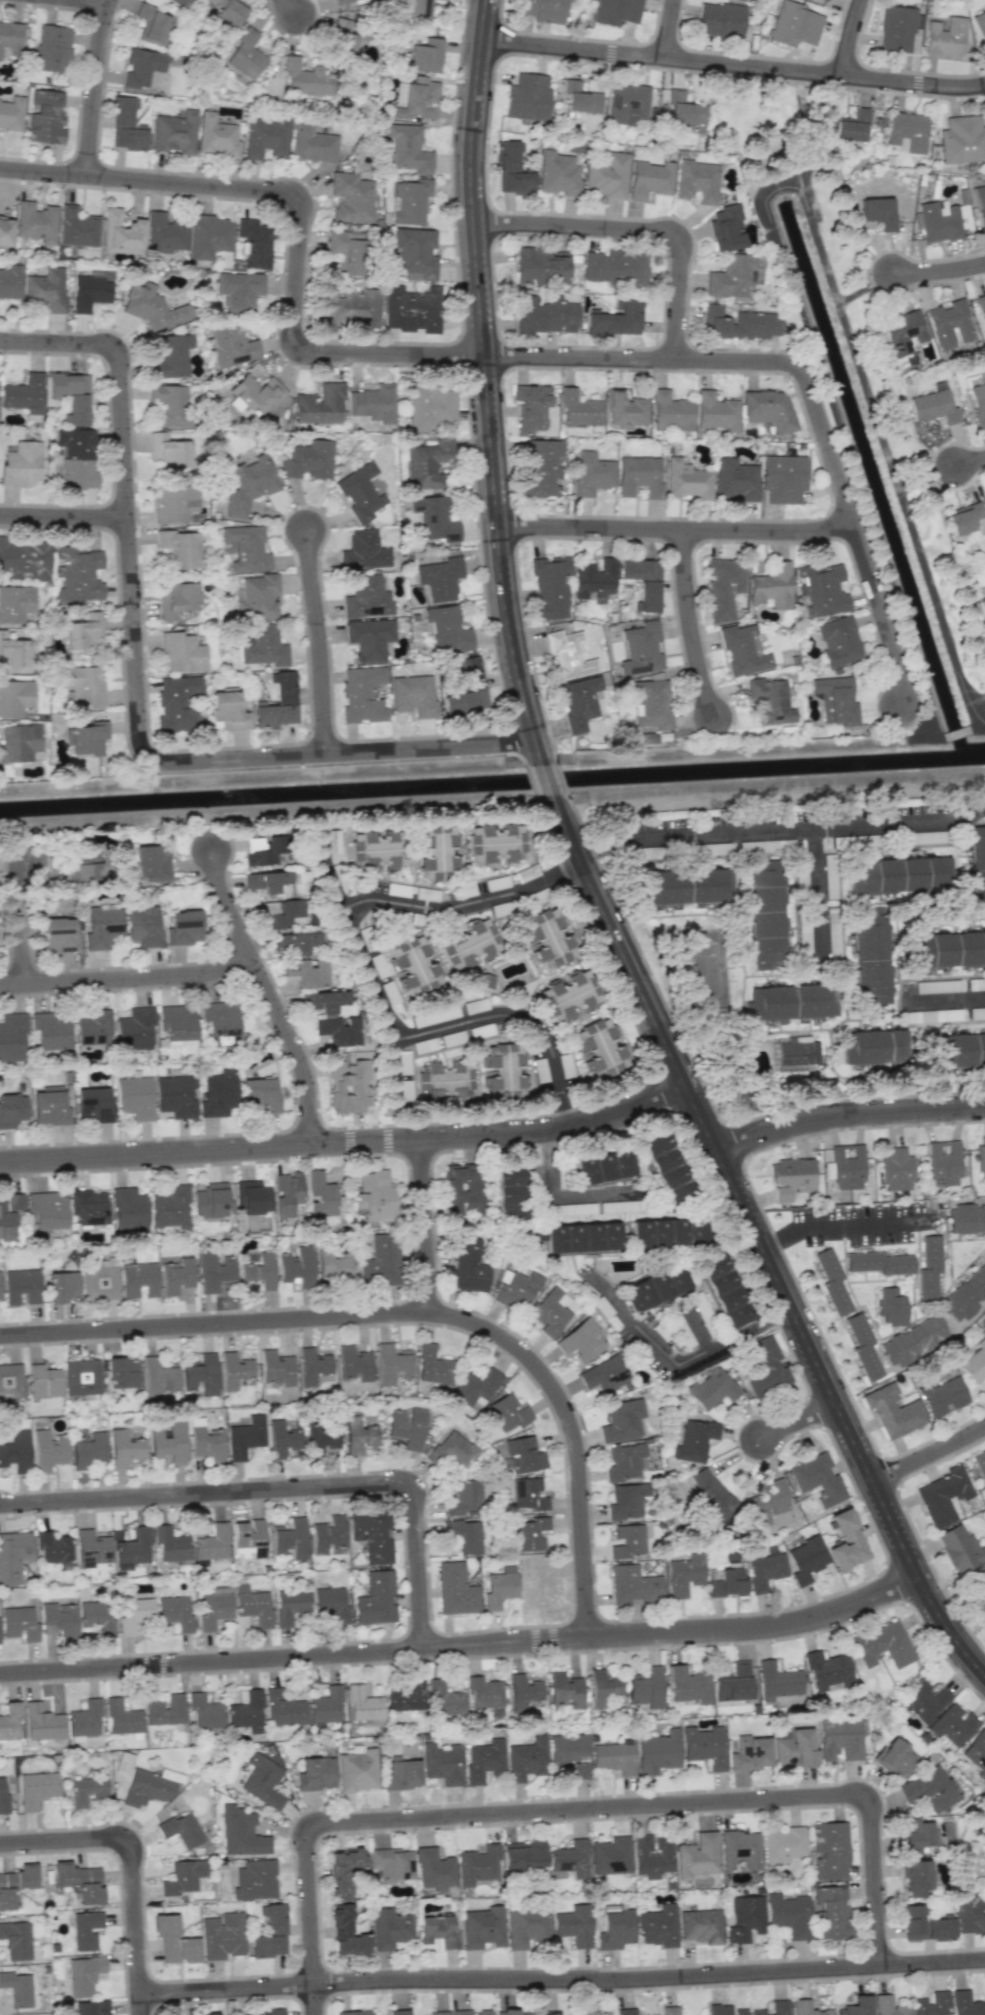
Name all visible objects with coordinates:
road: (109, 0)
building: (824, 0)
building: (340, 1)
building: (180, 2)
road: (294, 6)
building: (417, 8)
building: (542, 10)
building: (228, 11)
building: (617, 11)
building: (721, 19)
building: (150, 23)
building: (795, 24)
building: (980, 24)
building: (896, 27)
road: (669, 29)
building: (945, 36)
building: (343, 37)
road: (849, 37)
building: (10, 39)
building: (52, 48)
building: (245, 55)
building: (426, 56)
road: (734, 65)
building: (141, 67)
building: (305, 78)
road: (97, 86)
building: (527, 97)
building: (580, 98)
building: (417, 99)
building: (628, 103)
building: (680, 110)
building: (11, 113)
building: (46, 117)
building: (851, 125)
building: (126, 126)
building: (907, 131)
building: (174, 132)
building: (216, 136)
building: (265, 138)
building: (962, 139)
building: (312, 144)
building: (407, 148)
building: (511, 169)
building: (558, 173)
building: (607, 176)
building: (649, 179)
building: (696, 181)
building: (351, 198)
building: (410, 201)
building: (979, 205)
building: (878, 212)
road: (297, 219)
building: (942, 220)
building: (35, 222)
building: (76, 227)
building: (726, 228)
road: (643, 230)
building: (5, 231)
building: (121, 233)
building: (164, 233)
building: (209, 236)
building: (254, 243)
building: (347, 250)
building: (415, 253)
building: (541, 266)
building: (615, 266)
road: (938, 272)
building: (732, 277)
building: (10, 282)
building: (46, 289)
building: (239, 289)
building: (89, 292)
building: (982, 306)
building: (151, 307)
building: (350, 307)
building: (412, 309)
building: (544, 313)
building: (616, 319)
building: (739, 323)
building: (949, 323)
building: (902, 332)
building: (231, 345)
building: (172, 356)
road: (726, 360)
building: (68, 384)
building: (256, 393)
building: (24, 396)
building: (978, 402)
building: (373, 403)
building: (170, 404)
building: (320, 405)
road: (874, 406)
building: (933, 406)
building: (530, 407)
building: (431, 408)
building: (768, 408)
building: (578, 409)
building: (76, 410)
building: (625, 410)
building: (670, 412)
building: (715, 412)
road: (848, 447)
building: (167, 451)
building: (308, 460)
building: (427, 463)
road: (971, 463)
building: (21, 464)
building: (541, 468)
building: (591, 473)
building: (638, 476)
building: (783, 479)
building: (687, 480)
building: (735, 480)
building: (248, 485)
building: (360, 492)
building: (174, 503)
road: (66, 515)
building: (434, 518)
building: (963, 518)
road: (677, 531)
building: (180, 548)
building: (246, 548)
building: (364, 551)
building: (25, 558)
building: (78, 576)
building: (440, 578)
building: (594, 579)
building: (642, 582)
building: (550, 587)
building: (771, 587)
building: (722, 588)
building: (821, 588)
building: (258, 597)
building: (367, 597)
building: (176, 600)
building: (15, 603)
building: (981, 608)
road: (884, 616)
road: (692, 627)
building: (447, 629)
building: (83, 631)
building: (369, 638)
road: (321, 641)
building: (838, 641)
building: (263, 645)
building: (641, 649)
building: (742, 649)
building: (12, 652)
building: (181, 653)
building: (568, 655)
road: (142, 682)
building: (84, 685)
building: (283, 686)
building: (466, 688)
building: (362, 695)
building: (413, 695)
building: (15, 698)
building: (770, 700)
building: (835, 700)
building: (579, 702)
building: (178, 704)
building: (651, 704)
building: (228, 709)
building: (274, 713)
road: (963, 730)
building: (87, 739)
building: (19, 742)
road: (556, 779)
road: (534, 780)
road: (780, 828)
building: (495, 843)
building: (377, 849)
building: (265, 850)
building: (437, 853)
building: (151, 862)
building: (85, 866)
building: (978, 866)
road: (590, 875)
building: (830, 875)
building: (900, 875)
building: (266, 881)
building: (686, 886)
road: (368, 898)
road: (816, 901)
road: (847, 908)
building: (281, 913)
building: (766, 914)
road: (24, 922)
building: (143, 926)
building: (102, 927)
building: (183, 928)
building: (59, 935)
building: (548, 938)
building: (294, 943)
building: (468, 944)
building: (945, 949)
building: (870, 956)
building: (414, 965)
park: (706, 968)
building: (308, 972)
road: (128, 980)
building: (569, 995)
road: (272, 996)
road: (944, 999)
building: (323, 1001)
building: (794, 1001)
building: (977, 1013)
building: (932, 1014)
building: (435, 1016)
road: (518, 1016)
building: (220, 1018)
building: (177, 1022)
building: (91, 1027)
building: (339, 1029)
building: (135, 1030)
building: (50, 1031)
building: (12, 1036)
building: (871, 1047)
building: (599, 1048)
building: (958, 1050)
building: (793, 1053)
building: (404, 1062)
building: (504, 1070)
building: (445, 1081)
building: (348, 1086)
building: (217, 1093)
building: (260, 1095)
building: (175, 1096)
building: (135, 1097)
building: (94, 1105)
building: (49, 1108)
building: (12, 1110)
road: (848, 1113)
road: (347, 1144)
building: (981, 1158)
building: (943, 1163)
building: (847, 1166)
building: (666, 1167)
building: (603, 1168)
building: (896, 1169)
building: (791, 1177)
building: (461, 1188)
building: (287, 1192)
building: (510, 1192)
road: (562, 1194)
building: (320, 1195)
building: (252, 1196)
building: (375, 1196)
building: (210, 1200)
building: (171, 1206)
building: (621, 1206)
building: (89, 1207)
building: (574, 1209)
building: (129, 1210)
building: (47, 1211)
building: (9, 1215)
building: (967, 1217)
road: (426, 1227)
road: (848, 1228)
building: (666, 1233)
building: (582, 1237)
building: (380, 1260)
building: (879, 1262)
building: (333, 1265)
building: (296, 1266)
building: (468, 1266)
building: (930, 1267)
building: (214, 1271)
building: (260, 1271)
building: (176, 1276)
building: (138, 1279)
building: (832, 1281)
building: (99, 1282)
building: (21, 1285)
building: (62, 1286)
building: (516, 1288)
building: (656, 1288)
building: (723, 1290)
building: (966, 1294)
building: (0, 1296)
building: (891, 1307)
road: (417, 1312)
building: (551, 1312)
building: (983, 1328)
building: (581, 1340)
building: (912, 1341)
building: (863, 1346)
building: (973, 1362)
building: (354, 1363)
building: (392, 1364)
building: (312, 1365)
road: (676, 1365)
building: (433, 1366)
building: (766, 1368)
building: (276, 1369)
building: (234, 1370)
building: (123, 1372)
building: (201, 1374)
building: (606, 1374)
building: (82, 1377)
building: (158, 1377)
building: (10, 1381)
building: (44, 1381)
building: (474, 1387)
building: (711, 1388)
building: (942, 1396)
building: (893, 1410)
building: (507, 1412)
building: (622, 1420)
road: (798, 1422)
building: (406, 1428)
building: (359, 1436)
building: (244, 1437)
building: (321, 1437)
building: (282, 1439)
building: (694, 1440)
building: (206, 1441)
building: (169, 1443)
building: (124, 1448)
building: (88, 1449)
building: (48, 1450)
building: (452, 1450)
building: (14, 1451)
building: (524, 1455)
road: (929, 1456)
building: (624, 1462)
building: (979, 1464)
building: (817, 1478)
road: (288, 1489)
building: (710, 1494)
building: (529, 1495)
building: (943, 1495)
building: (465, 1498)
building: (626, 1500)
building: (328, 1533)
building: (531, 1533)
building: (373, 1535)
building: (465, 1535)
building: (248, 1538)
building: (290, 1538)
building: (846, 1540)
building: (627, 1541)
building: (171, 1544)
building: (210, 1545)
building: (92, 1548)
building: (960, 1548)
building: (54, 1549)
building: (133, 1549)
building: (13, 1556)
building: (805, 1560)
building: (764, 1570)
building: (684, 1574)
building: (727, 1583)
building: (980, 1583)
building: (633, 1585)
building: (499, 1587)
building: (455, 1589)
building: (376, 1599)
building: (331, 1603)
building: (290, 1604)
building: (253, 1605)
building: (213, 1610)
building: (175, 1612)
building: (134, 1614)
building: (97, 1617)
building: (59, 1620)
building: (19, 1623)
building: (883, 1645)
road: (463, 1646)
building: (827, 1670)
building: (777, 1681)
building: (733, 1683)
building: (688, 1685)
building: (602, 1688)
building: (646, 1688)
building: (565, 1689)
building: (523, 1691)
building: (484, 1692)
building: (406, 1697)
building: (444, 1699)
building: (922, 1700)
building: (363, 1704)
building: (325, 1705)
building: (283, 1708)
building: (165, 1710)
building: (204, 1711)
building: (246, 1712)
building: (85, 1718)
building: (122, 1718)
building: (9, 1721)
building: (42, 1722)
building: (952, 1724)
building: (839, 1739)
building: (704, 1746)
building: (567, 1748)
building: (795, 1749)
building: (657, 1751)
building: (976, 1752)
building: (749, 1753)
building: (614, 1757)
building: (895, 1757)
building: (526, 1759)
building: (483, 1760)
building: (442, 1763)
building: (357, 1770)
building: (401, 1772)
building: (315, 1773)
building: (263, 1781)
building: (147, 1788)
building: (36, 1789)
building: (928, 1789)
building: (87, 1791)
building: (3, 1798)
road: (594, 1808)
building: (181, 1830)
building: (241, 1833)
building: (915, 1835)
building: (782, 1843)
building: (740, 1849)
building: (829, 1850)
building: (522, 1854)
building: (610, 1855)
building: (651, 1856)
building: (697, 1856)
building: (569, 1860)
building: (391, 1864)
building: (478, 1864)
road: (130, 1866)
building: (433, 1869)
building: (343, 1870)
building: (984, 1876)
building: (183, 1877)
building: (916, 1877)
building: (255, 1880)
building: (79, 1881)
building: (16, 1884)
building: (831, 1912)
building: (971, 1913)
building: (789, 1914)
building: (744, 1918)
building: (573, 1925)
building: (924, 1925)
building: (526, 1926)
building: (658, 1926)
building: (701, 1926)
building: (390, 1927)
building: (482, 1927)
building: (86, 1929)
building: (614, 1929)
building: (269, 1931)
building: (437, 1931)
building: (347, 1933)
building: (222, 1936)
building: (16, 1940)
building: (174, 1941)
building: (84, 1975)
road: (561, 1981)
building: (17, 1989)
road: (316, 2000)
building: (931, 2004)
building: (965, 2004)
building: (856, 2006)
building: (888, 2006)
building: (91, 2008)
building: (775, 2008)
building: (806, 2008)
building: (670, 2010)
building: (725, 2010)
building: (625, 2011)
building: (269, 2012)
building: (398, 2012)
building: (441, 2012)
building: (472, 2012)
building: (510, 2012)
building: (353, 2013)
building: (549, 2013)
building: (592, 2013)
building: (208, 2014)

